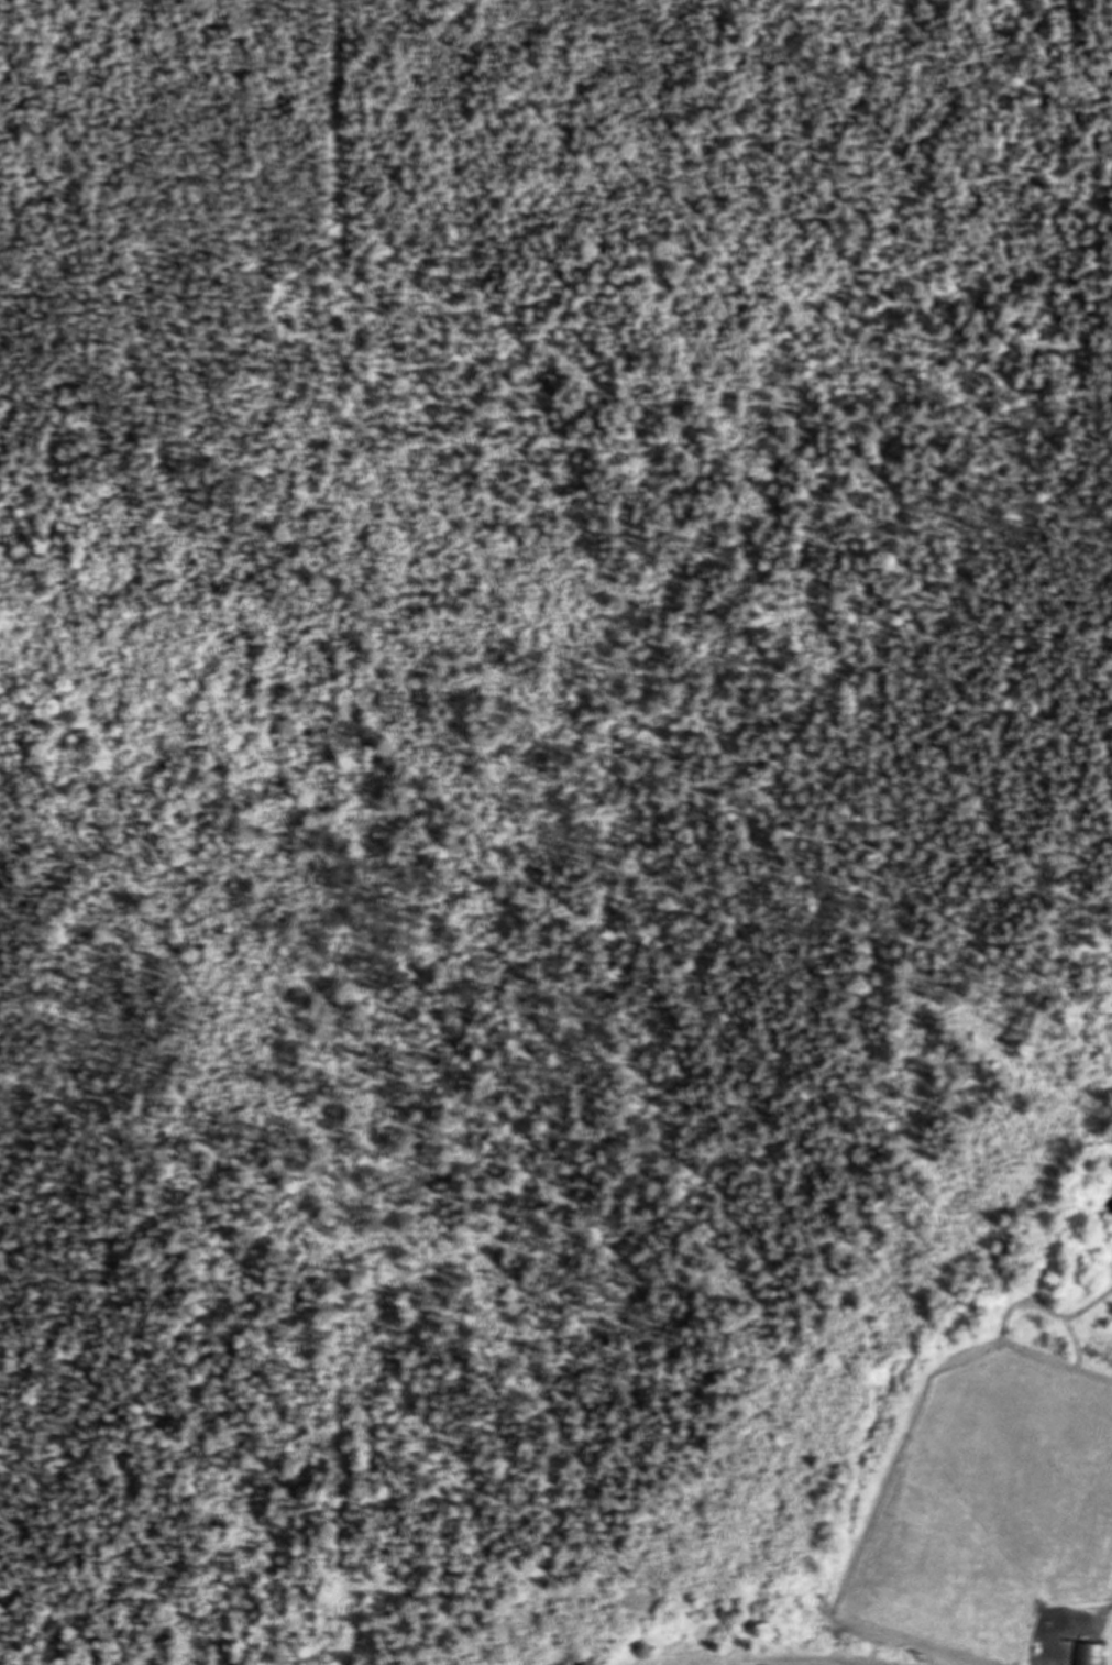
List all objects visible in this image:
building: (1091, 1653)

